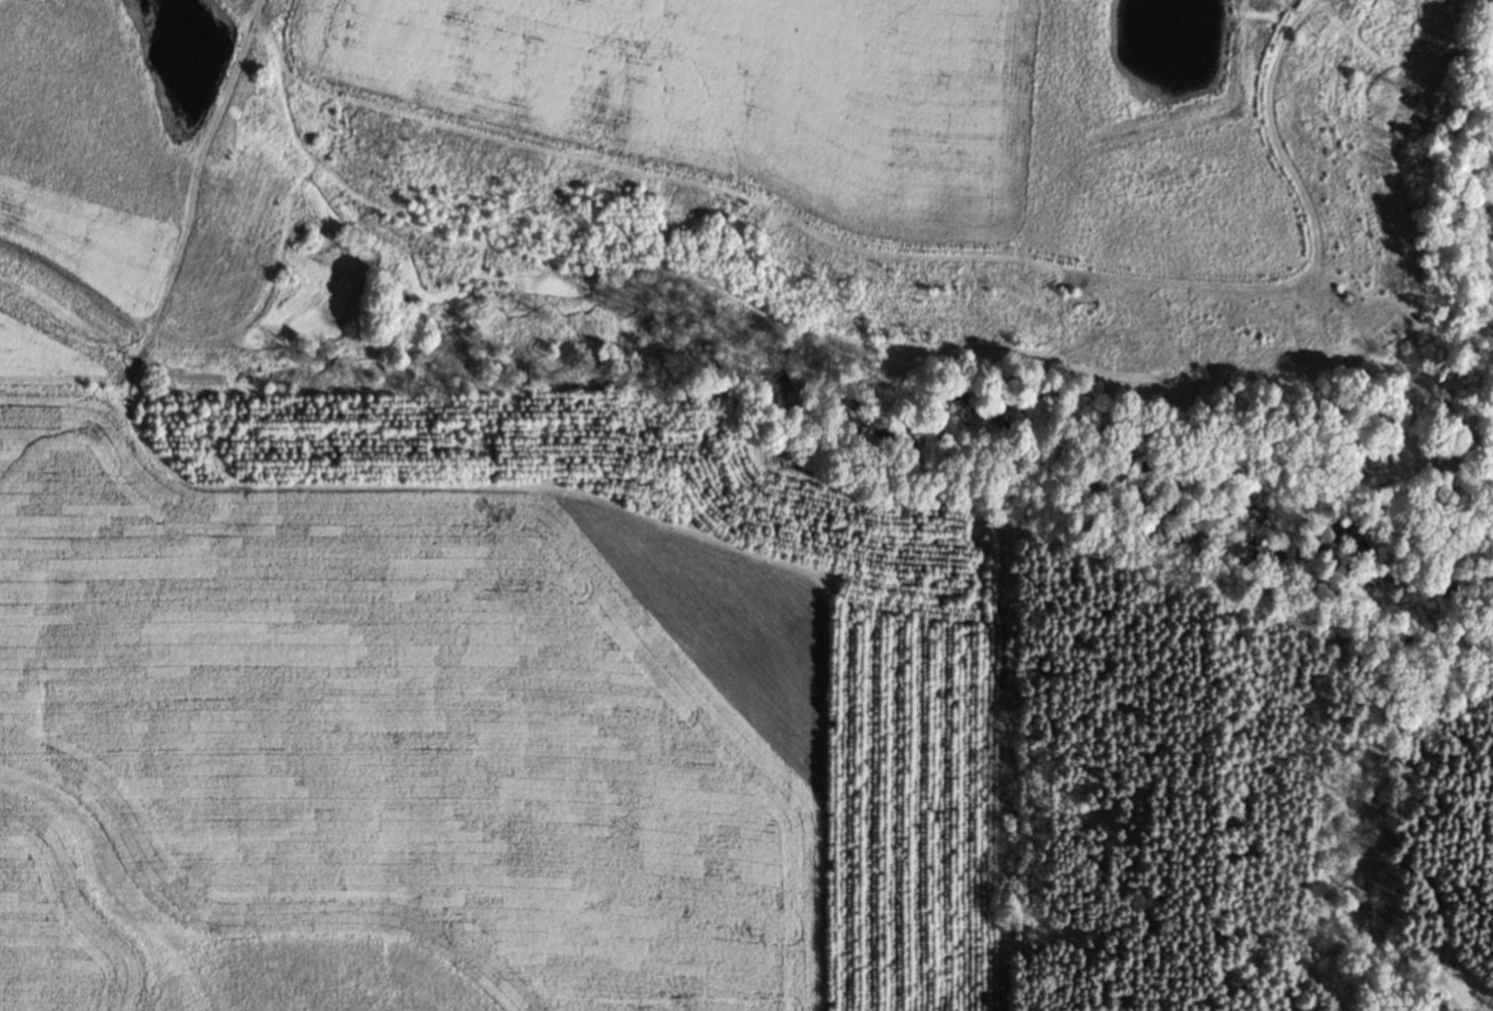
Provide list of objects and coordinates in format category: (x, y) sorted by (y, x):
road: (1435, 909)
road: (1315, 921)
road: (1436, 987)
building: (1470, 999)

